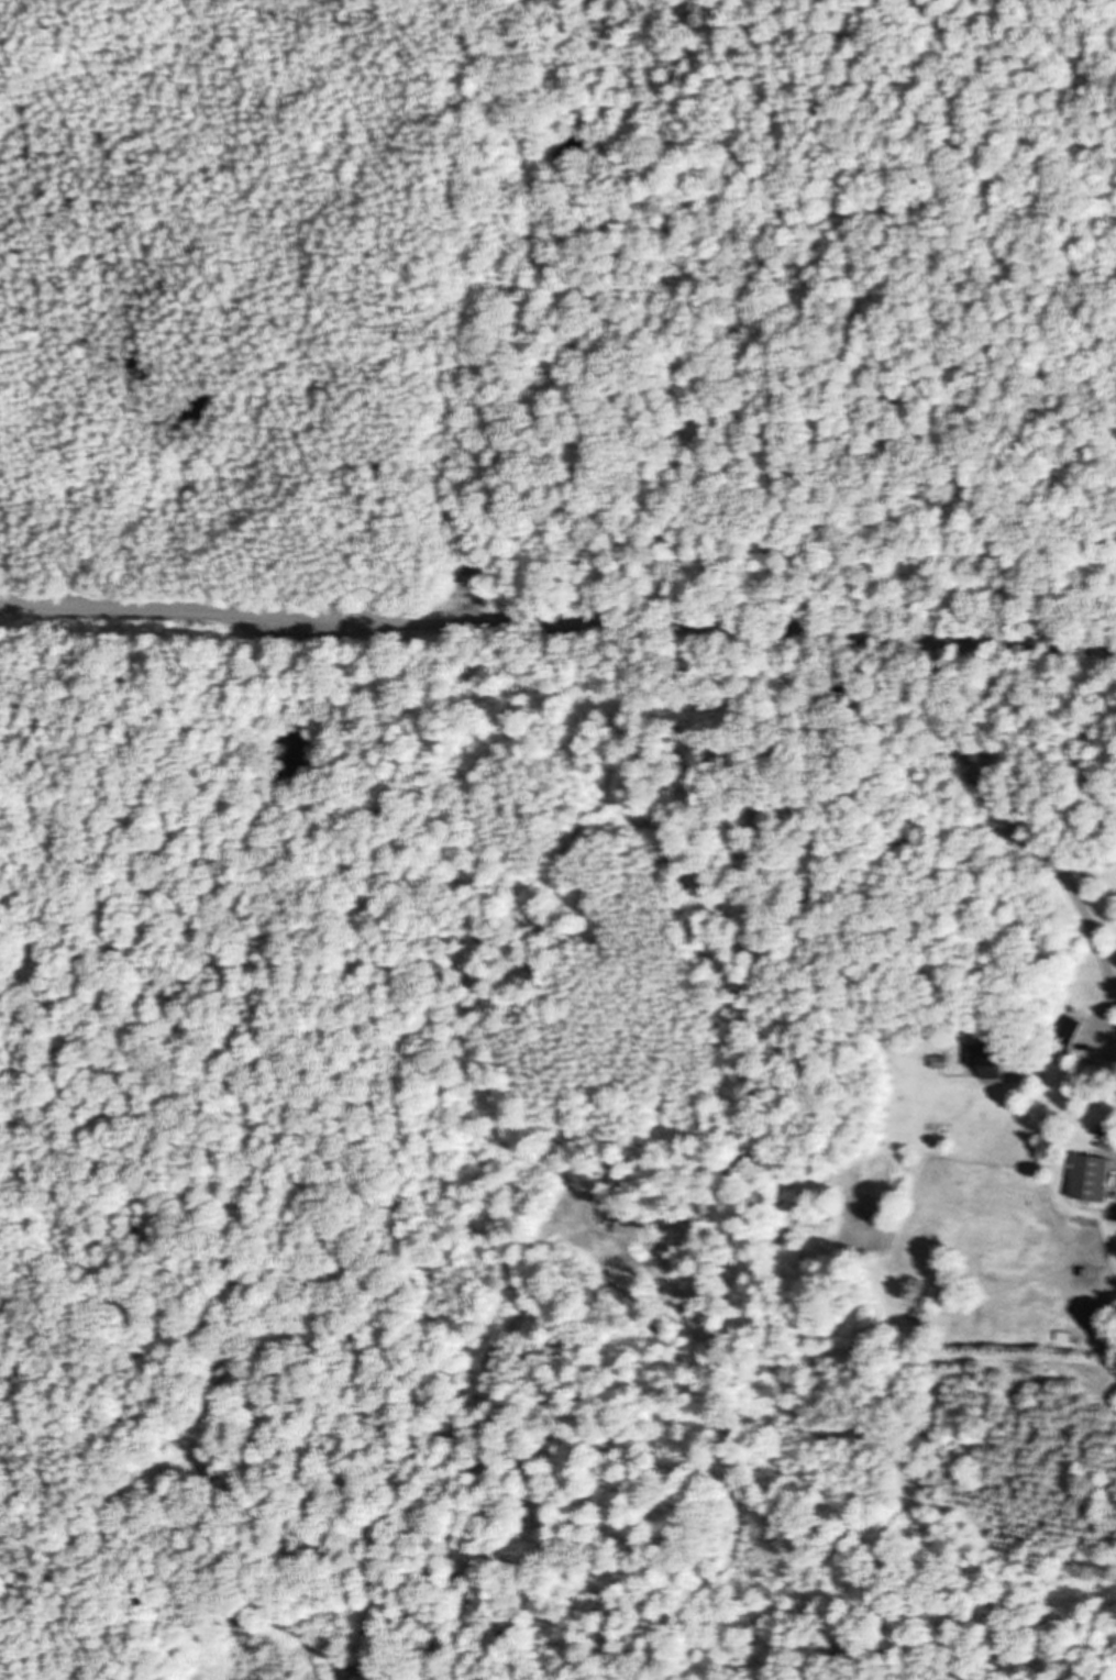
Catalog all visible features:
road: (557, 623)
road: (393, 799)
building: (1002, 1060)
building: (1097, 1178)
landfill: (224, 1678)

